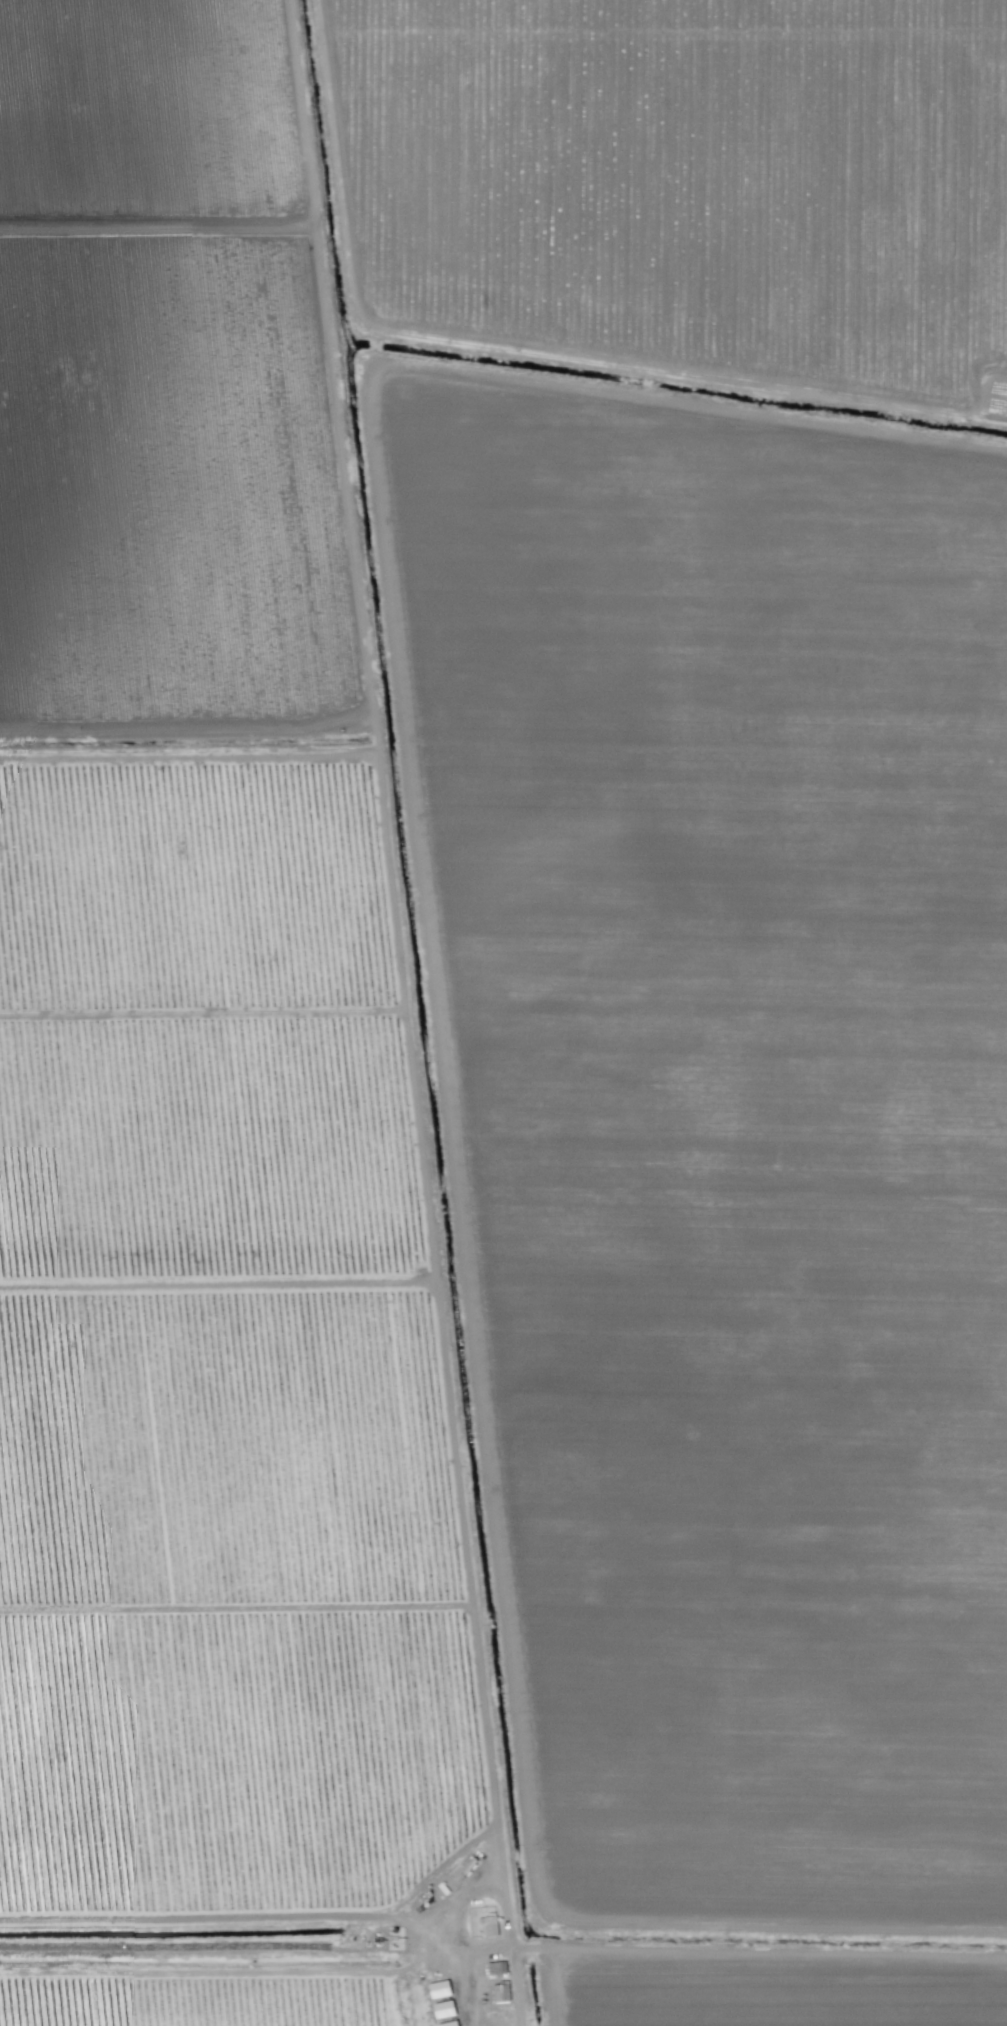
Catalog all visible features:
building: (478, 1823)
building: (494, 1970)
building: (502, 1993)
building: (454, 1994)

